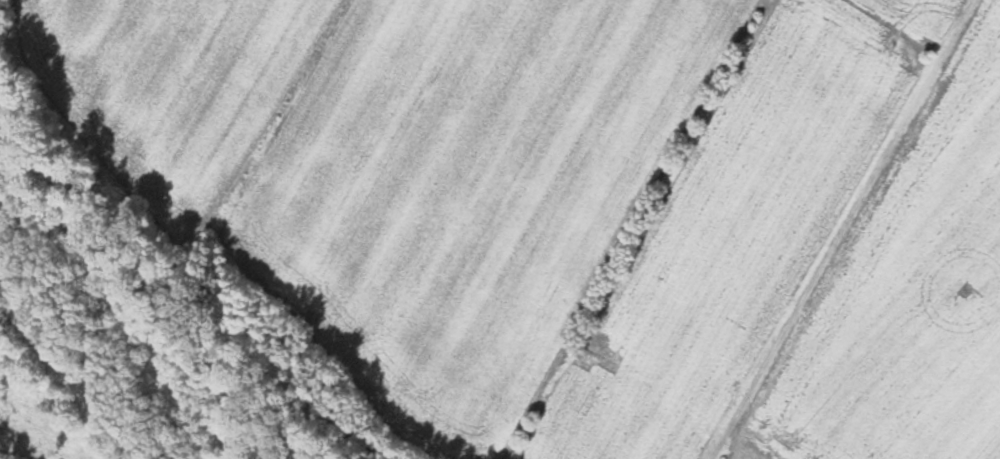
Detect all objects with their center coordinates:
road: (875, 229)

